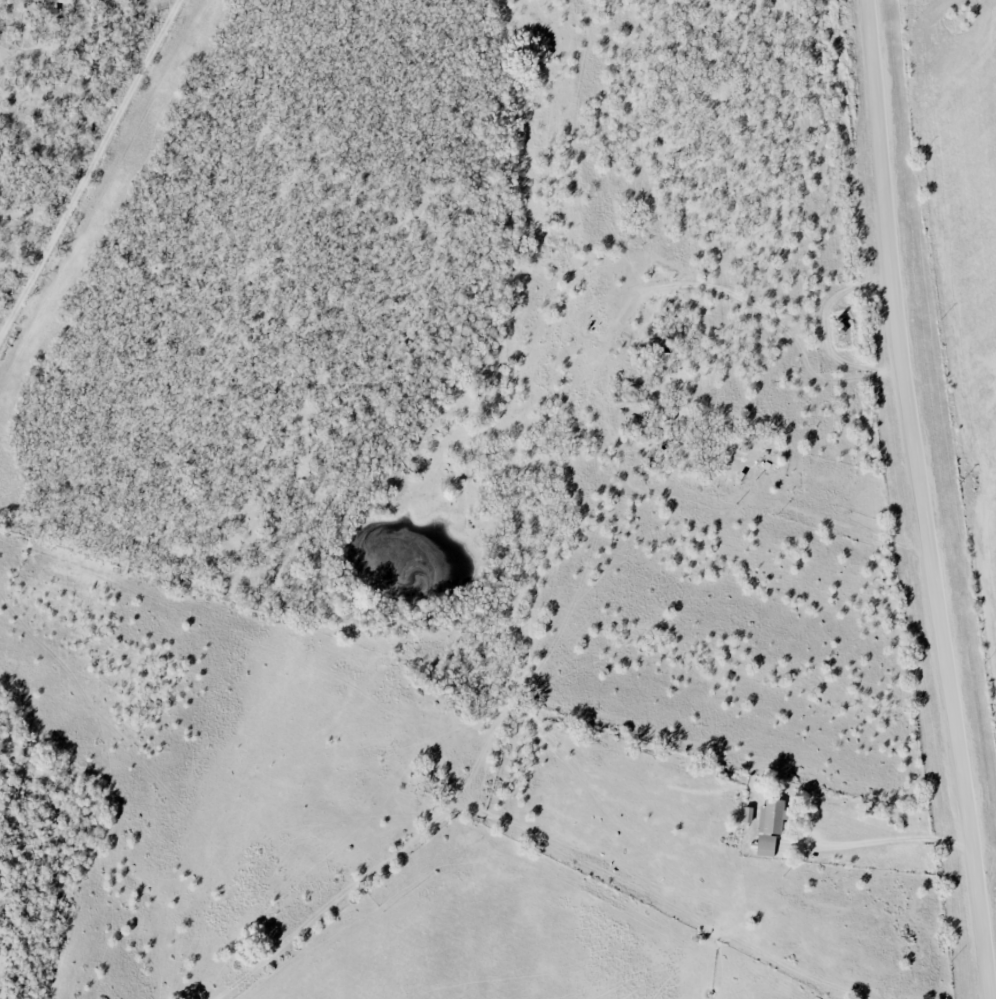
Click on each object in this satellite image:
road: (922, 490)
road: (833, 522)
building: (748, 814)
building: (771, 825)
road: (895, 839)

